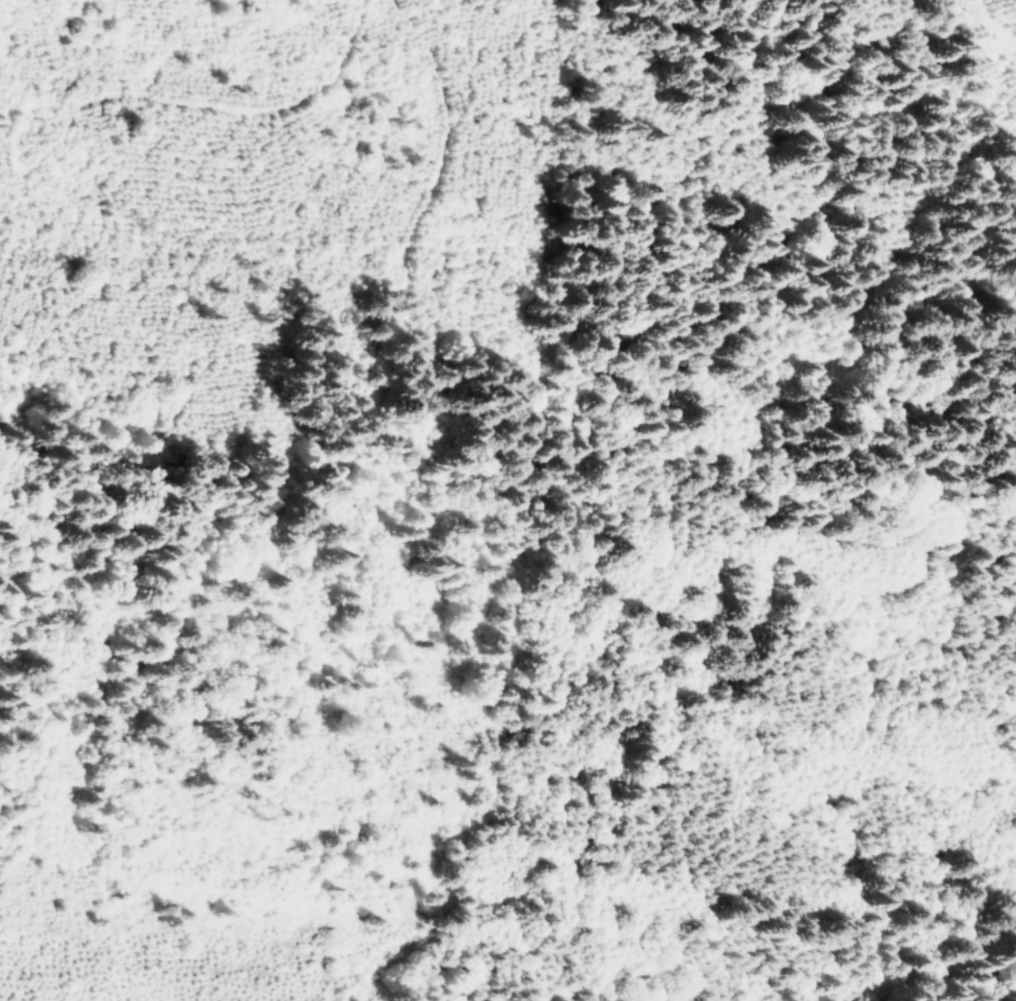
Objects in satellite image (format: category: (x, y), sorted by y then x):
road: (924, 173)
road: (697, 686)
road: (243, 711)

